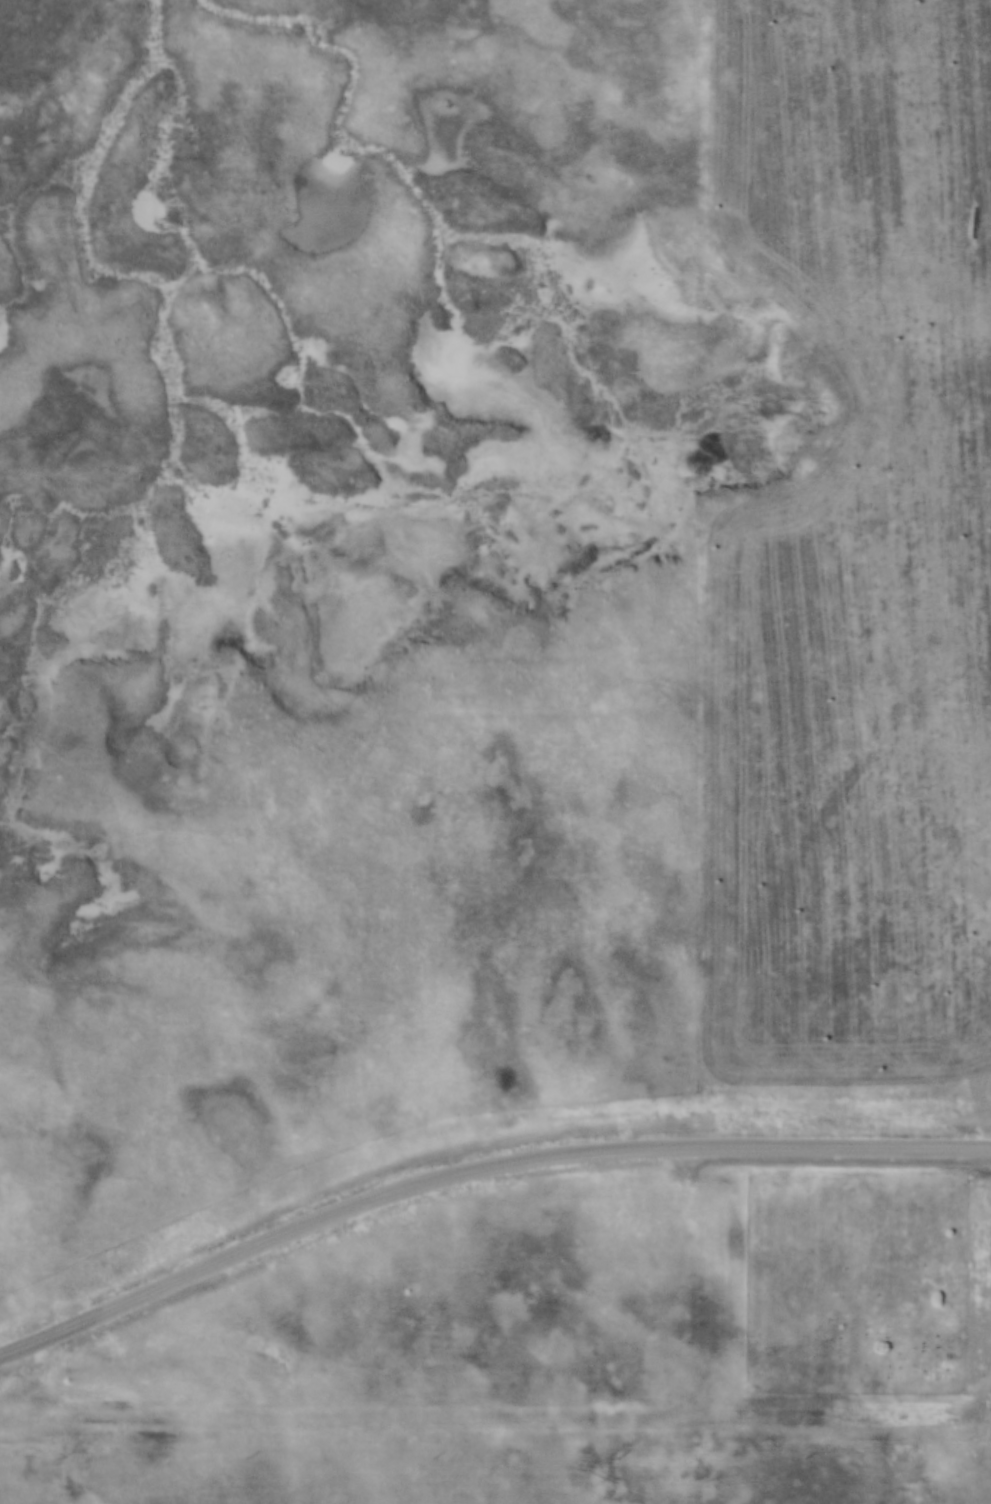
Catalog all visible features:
road: (477, 1162)
park: (850, 1279)
road: (977, 1393)

